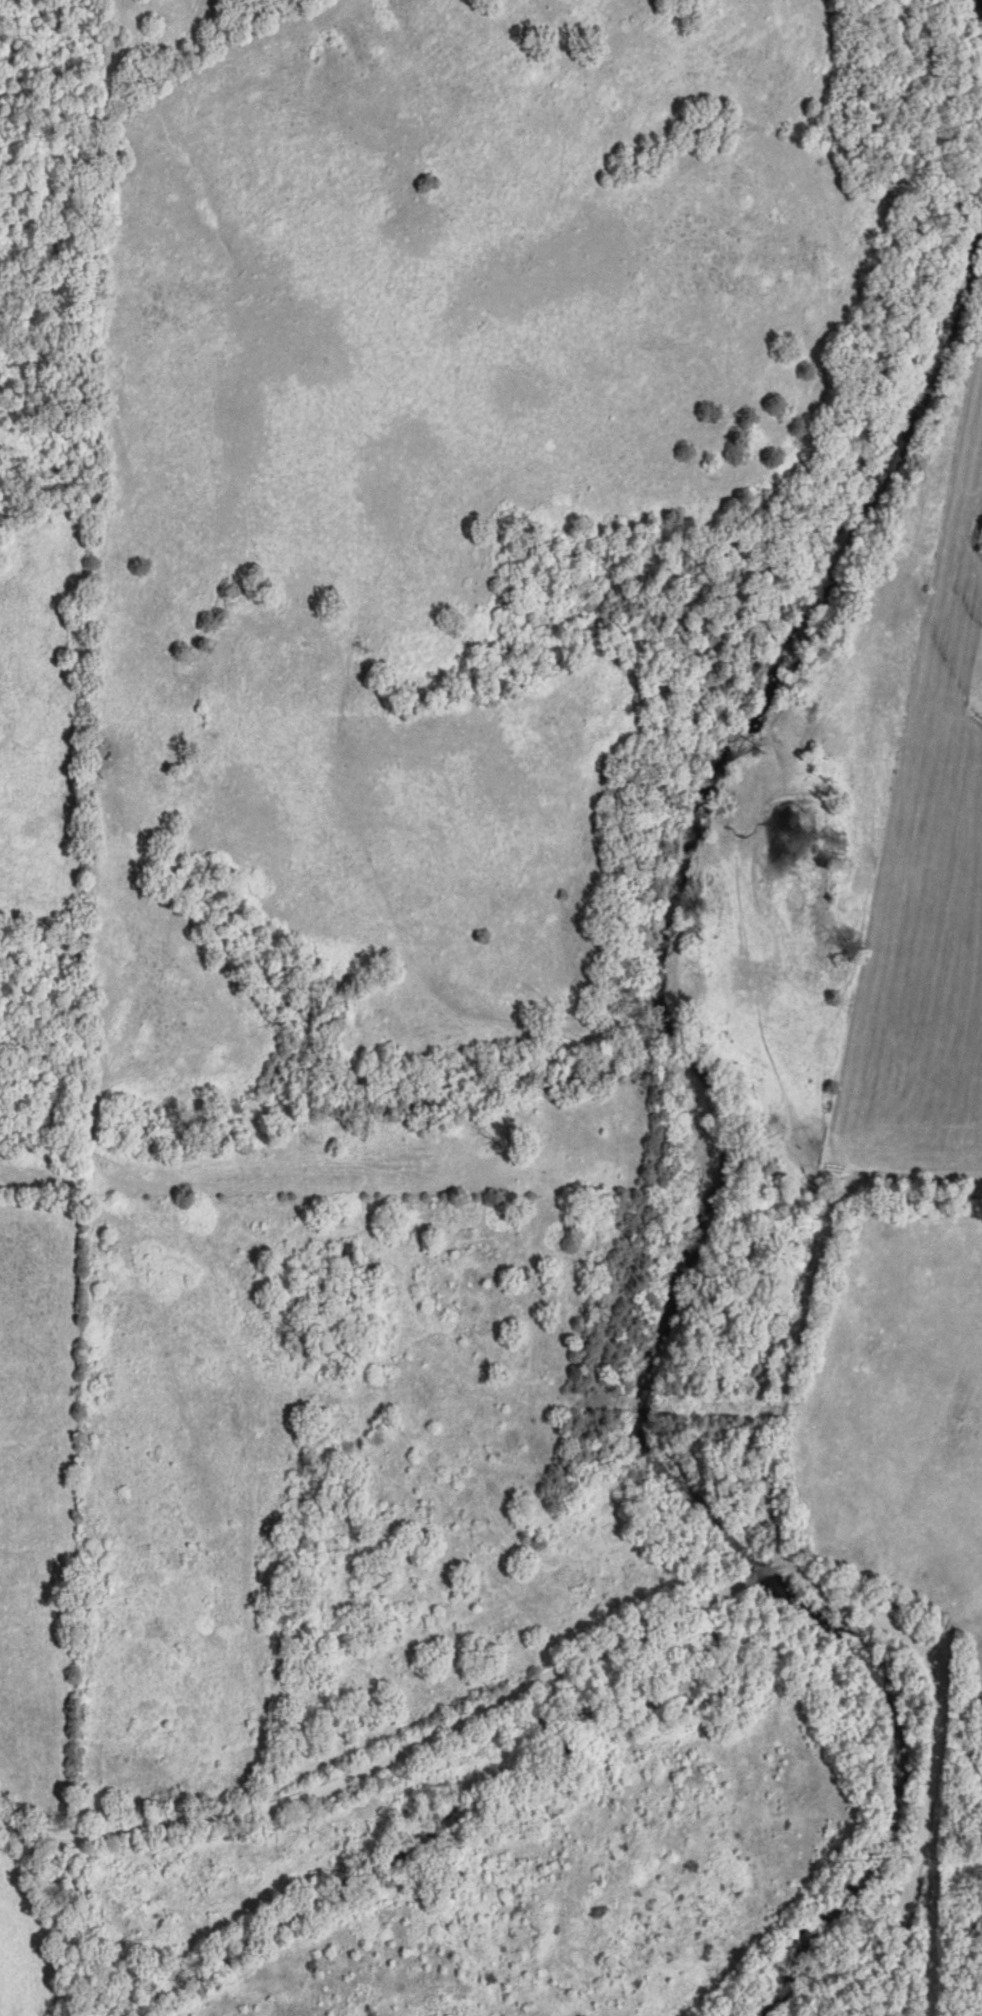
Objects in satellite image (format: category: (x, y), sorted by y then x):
road: (935, 1747)
road: (408, 1749)

